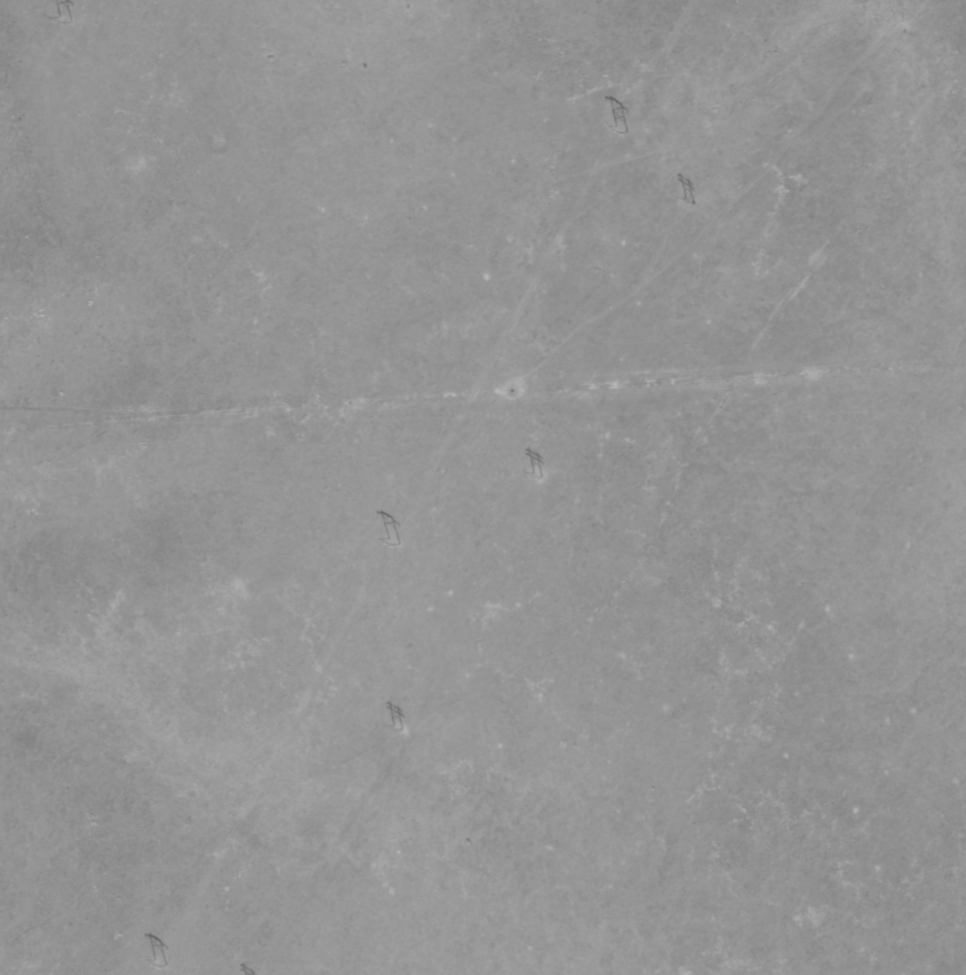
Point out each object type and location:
power tower: (64, 20)
power tower: (623, 129)
power tower: (690, 203)
power tower: (538, 477)
power tower: (396, 541)
power tower: (397, 727)
power tower: (161, 962)

